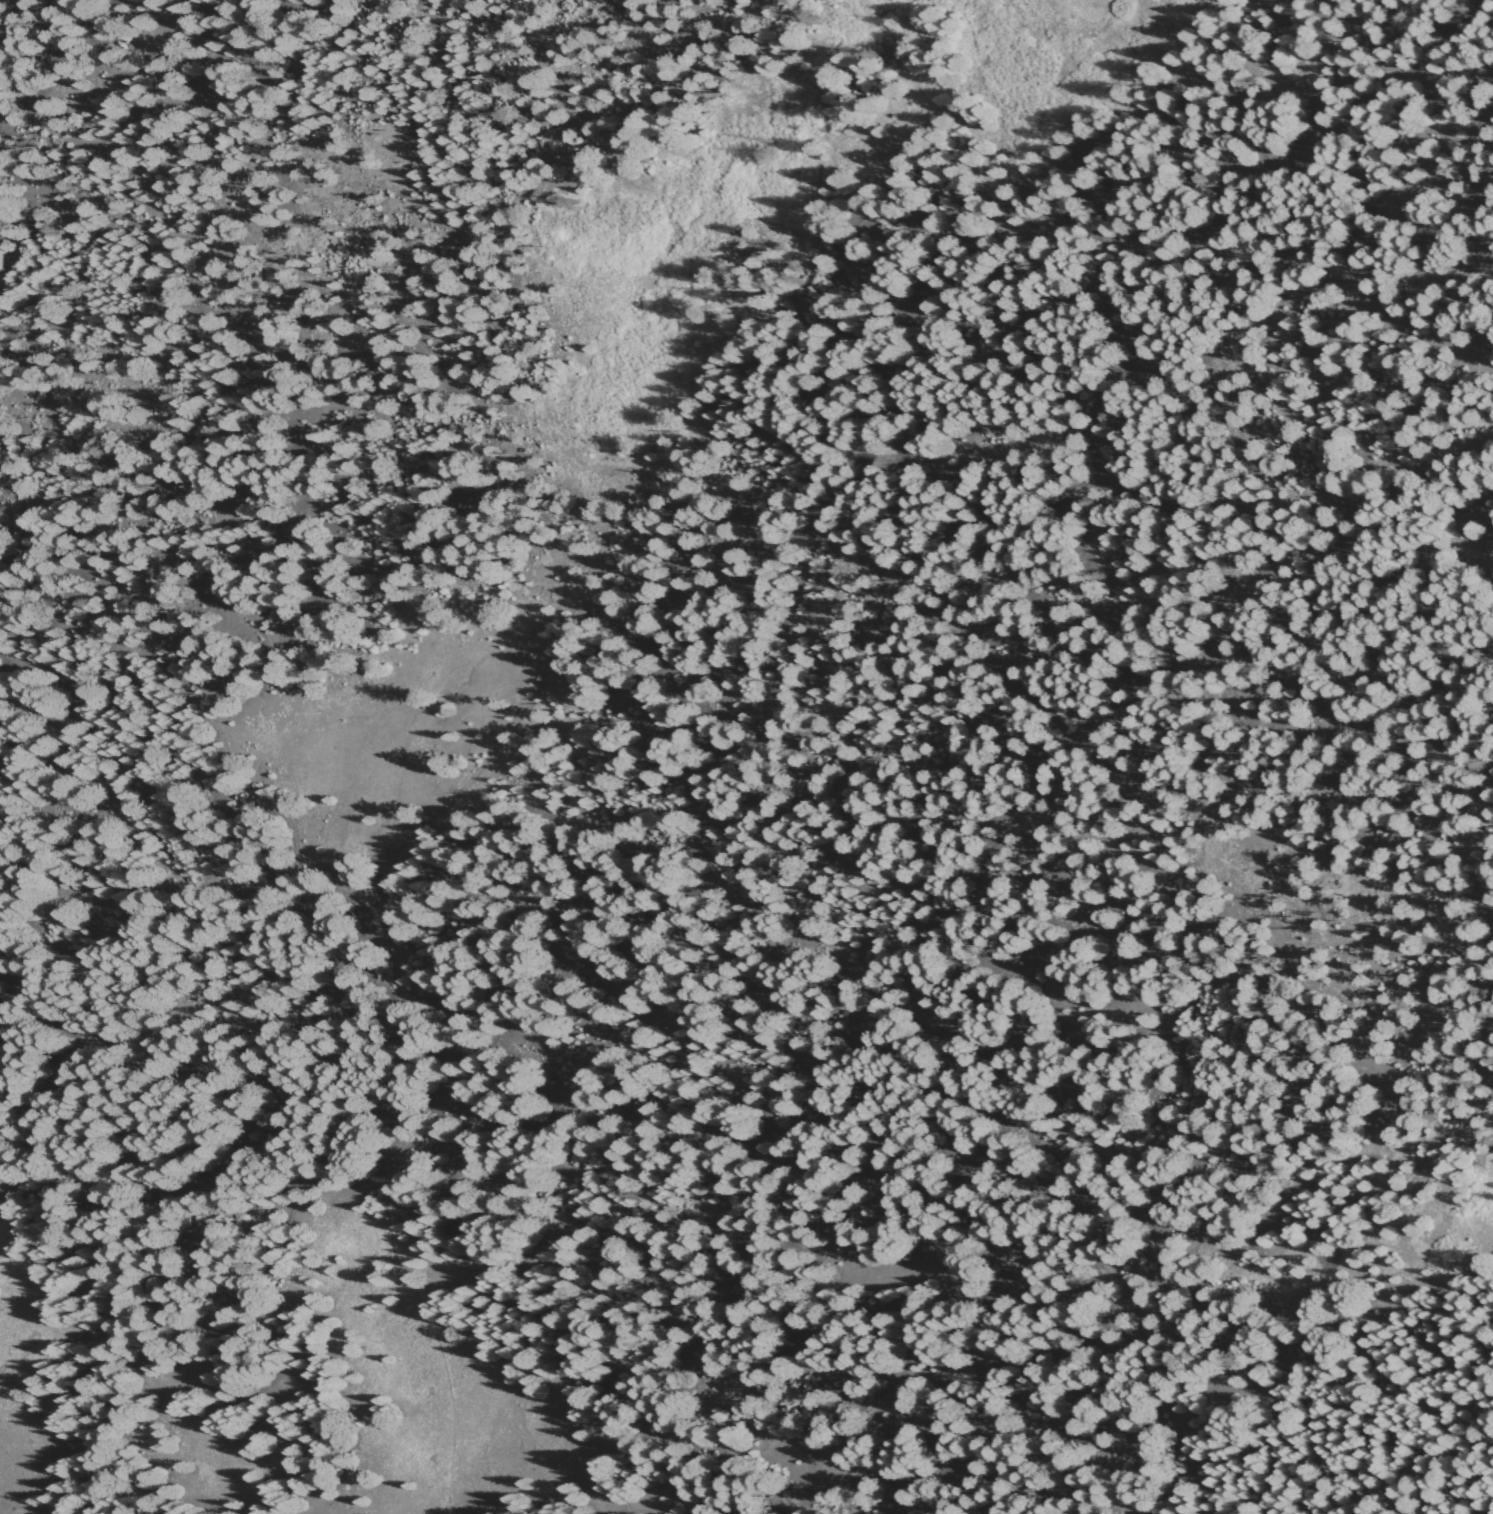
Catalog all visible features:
road: (310, 26)
road: (369, 530)
road: (287, 639)
road: (437, 810)
road: (385, 1174)
road: (527, 1368)

